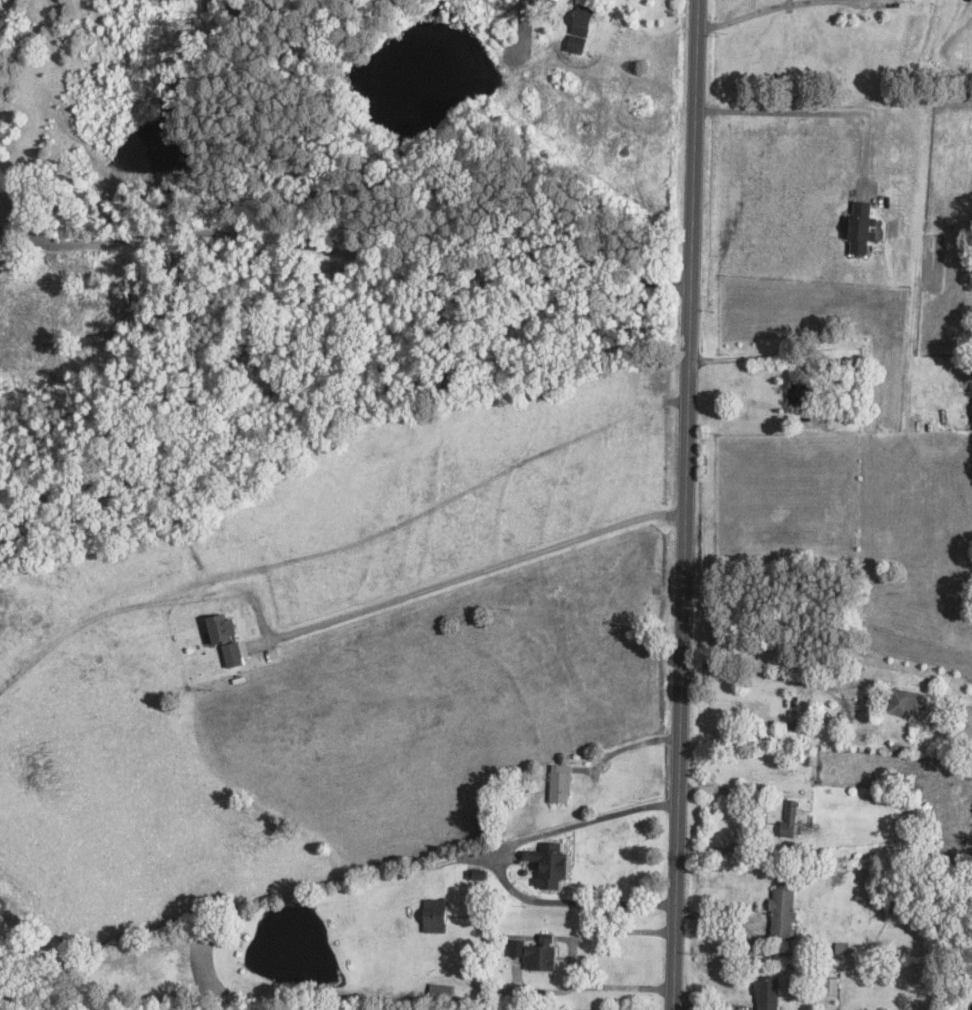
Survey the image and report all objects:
building: (584, 20)
building: (852, 228)
road: (347, 244)
building: (797, 394)
building: (970, 413)
road: (690, 505)
building: (217, 637)
building: (900, 704)
building: (785, 735)
building: (560, 784)
building: (785, 821)
building: (548, 865)
building: (780, 904)
building: (434, 916)
building: (840, 942)
building: (540, 954)
building: (829, 981)
building: (766, 987)
building: (441, 994)

